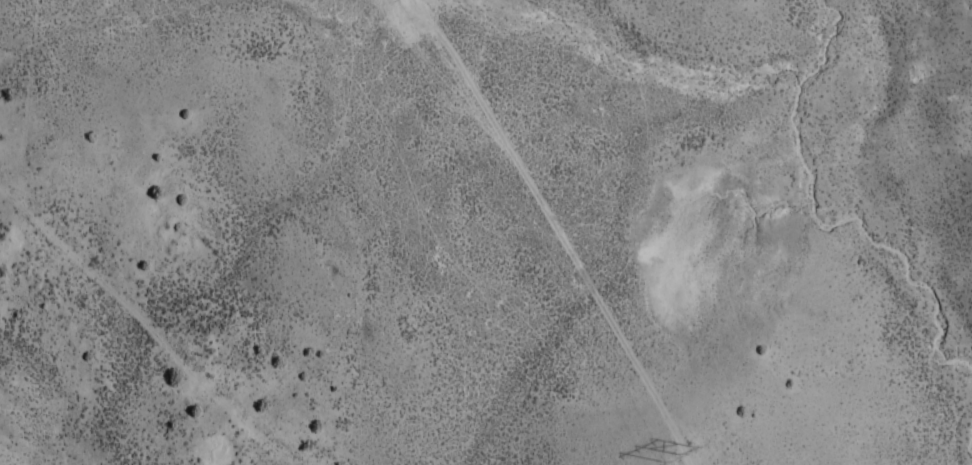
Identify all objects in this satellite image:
power tower: (681, 458)

